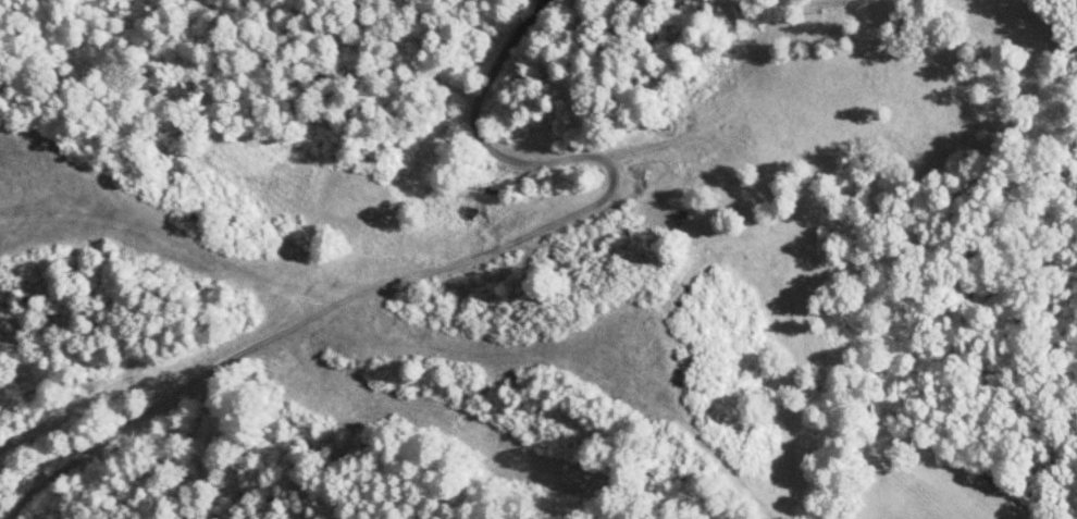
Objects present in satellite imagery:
road: (475, 121)
road: (634, 145)
road: (590, 201)

